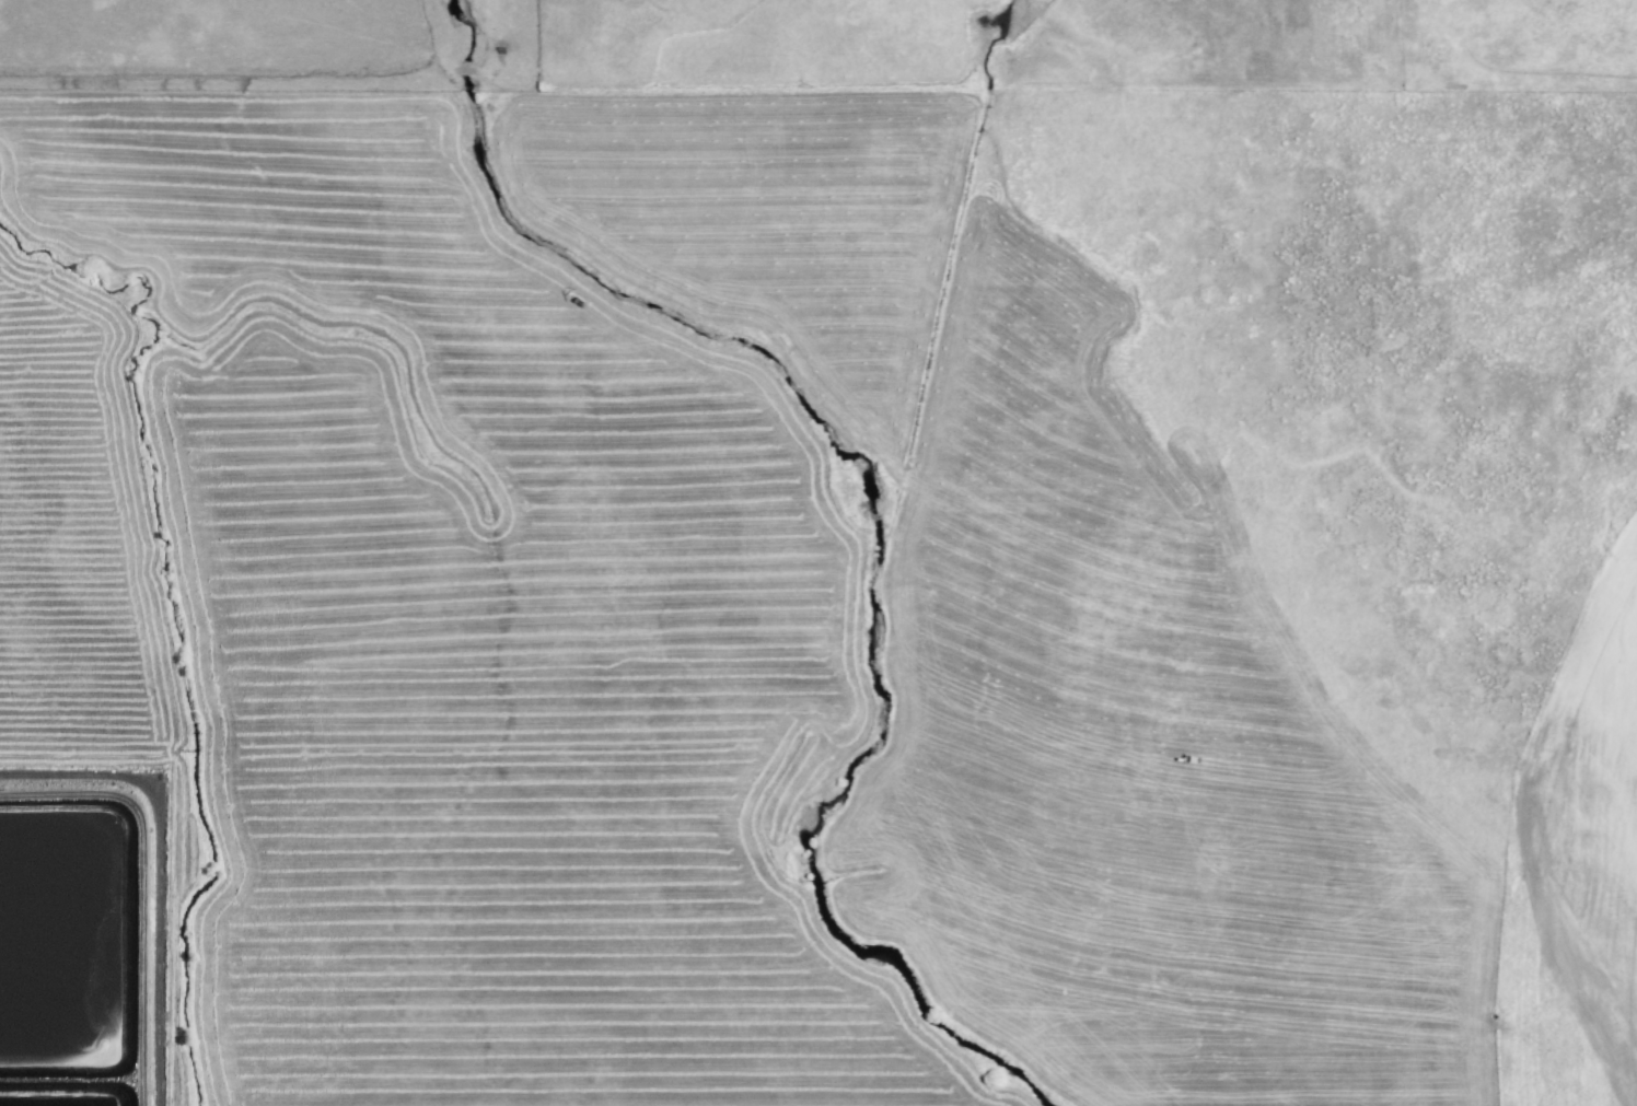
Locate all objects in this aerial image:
crop: (1346, 53)
crop: (274, 54)
crop: (834, 580)

